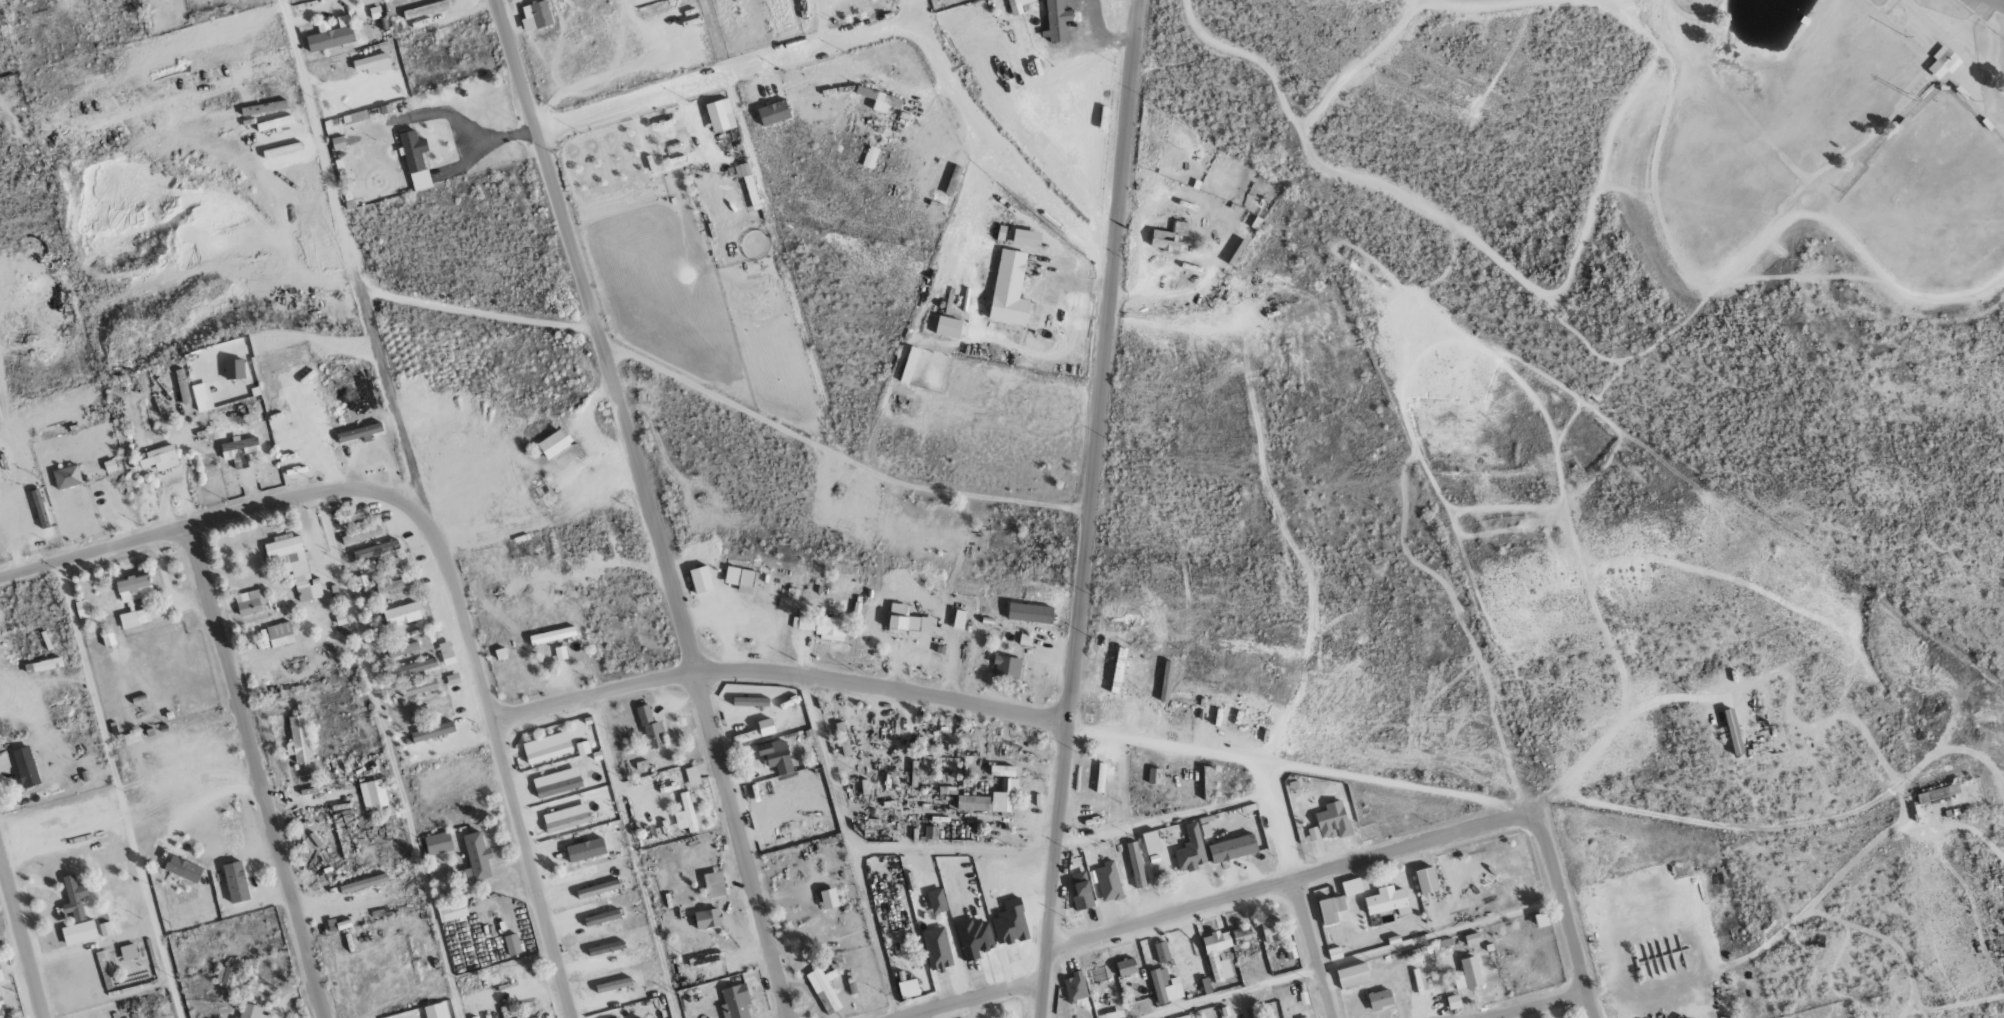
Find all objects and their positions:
road: (1999, 2)
parking lot: (1983, 8)
building: (425, 9)
road: (1483, 10)
building: (535, 16)
road: (1633, 19)
building: (1056, 20)
building: (330, 35)
building: (1942, 61)
building: (372, 64)
road: (1360, 66)
road: (722, 70)
building: (883, 102)
building: (263, 108)
building: (773, 113)
building: (719, 116)
building: (274, 123)
road: (993, 141)
building: (869, 157)
building: (415, 160)
park: (1938, 164)
building: (746, 181)
river: (1580, 226)
road: (1461, 231)
park: (1678, 234)
building: (1168, 237)
building: (1025, 238)
road: (352, 260)
road: (1741, 261)
building: (1008, 289)
building: (947, 327)
road: (1628, 358)
building: (908, 365)
building: (233, 369)
building: (358, 432)
building: (554, 443)
building: (239, 450)
building: (158, 458)
building: (0, 473)
building: (66, 477)
road: (646, 507)
building: (39, 508)
road: (1087, 508)
road: (213, 517)
building: (360, 535)
building: (375, 550)
building: (390, 563)
building: (292, 564)
building: (739, 578)
building: (700, 579)
building: (394, 585)
building: (133, 588)
building: (249, 603)
building: (1029, 613)
building: (401, 614)
building: (134, 617)
building: (907, 621)
building: (821, 627)
building: (276, 635)
building: (551, 635)
building: (402, 649)
building: (446, 653)
building: (44, 665)
building: (413, 667)
building: (1006, 667)
building: (418, 688)
building: (749, 701)
building: (765, 727)
building: (649, 728)
building: (432, 732)
building: (298, 739)
building: (842, 739)
building: (581, 748)
building: (548, 753)
road: (390, 755)
building: (775, 756)
road: (1249, 761)
road: (506, 766)
building: (25, 767)
road: (257, 771)
building: (691, 776)
building: (1153, 776)
building: (1011, 784)
building: (557, 787)
road: (117, 789)
building: (1937, 793)
building: (378, 797)
building: (972, 803)
building: (686, 813)
building: (566, 818)
building: (1330, 822)
road: (1281, 823)
building: (1150, 842)
building: (437, 843)
building: (1232, 849)
building: (585, 850)
building: (1190, 850)
building: (476, 858)
building: (1135, 865)
building: (183, 869)
building: (1426, 880)
building: (235, 882)
building: (1108, 882)
road: (1290, 882)
building: (362, 883)
building: (984, 883)
building: (713, 884)
building: (1351, 887)
building: (597, 889)
building: (1081, 891)
building: (73, 898)
building: (828, 899)
building: (1387, 901)
building: (1330, 909)
building: (451, 910)
road: (1564, 915)
building: (601, 918)
building: (707, 919)
building: (1269, 930)
building: (78, 933)
building: (1241, 936)
road: (21, 937)
building: (1472, 938)
building: (973, 939)
building: (511, 944)
building: (604, 948)
building: (936, 948)
road: (1314, 949)
building: (128, 952)
building: (1161, 952)
building: (1211, 955)
building: (1125, 967)
building: (4, 969)
building: (1468, 974)
building: (224, 976)
building: (1352, 976)
building: (0, 979)
building: (612, 985)
building: (1165, 986)
building: (1075, 987)
building: (907, 988)
building: (824, 989)
building: (1379, 999)
road: (975, 1000)
building: (734, 1002)
building: (1453, 1002)
road: (1540, 1005)
building: (250, 1011)
building: (434, 1011)
building: (1, 1012)
building: (234, 1017)
building: (1183, 1017)
building: (1311, 1017)

